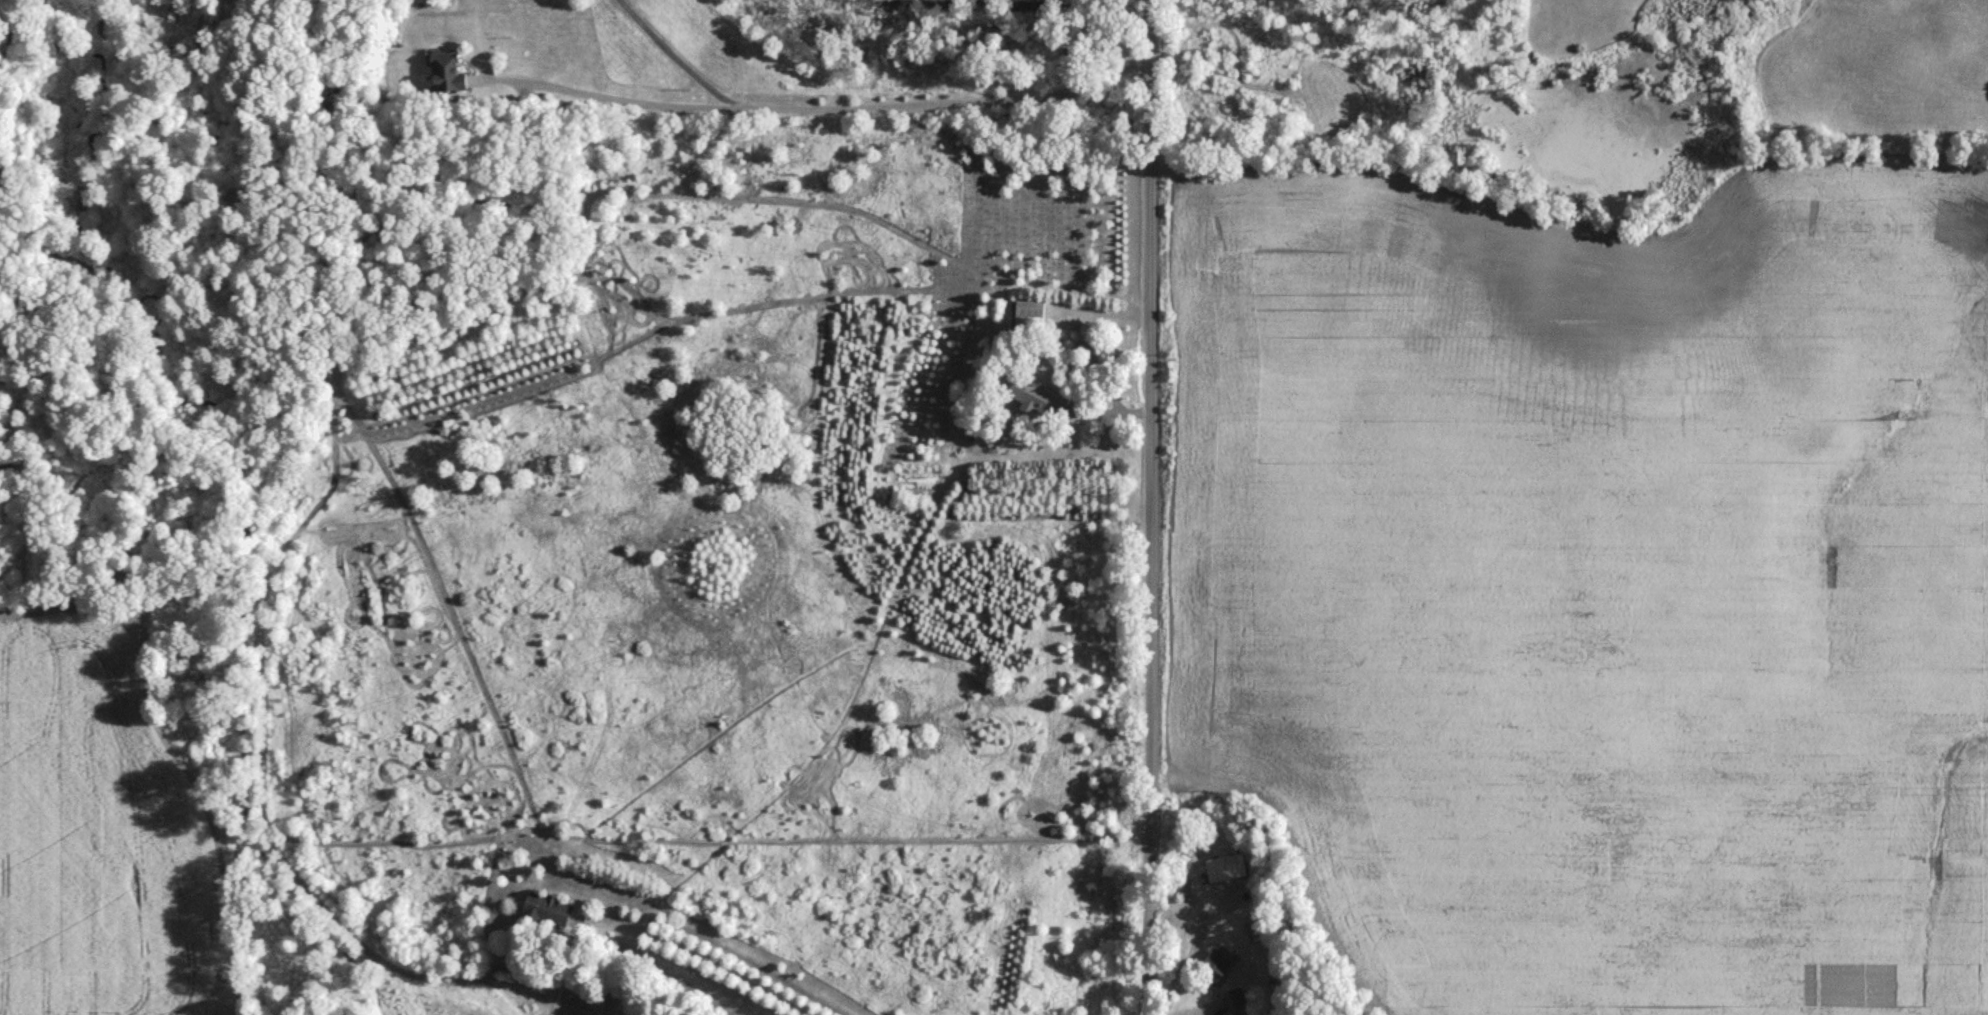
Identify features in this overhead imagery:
building: (443, 74)
road: (610, 95)
road: (871, 101)
building: (1027, 316)
building: (1032, 396)
road: (1149, 507)
building: (1223, 869)
building: (543, 911)
building: (1213, 965)
building: (1232, 998)

